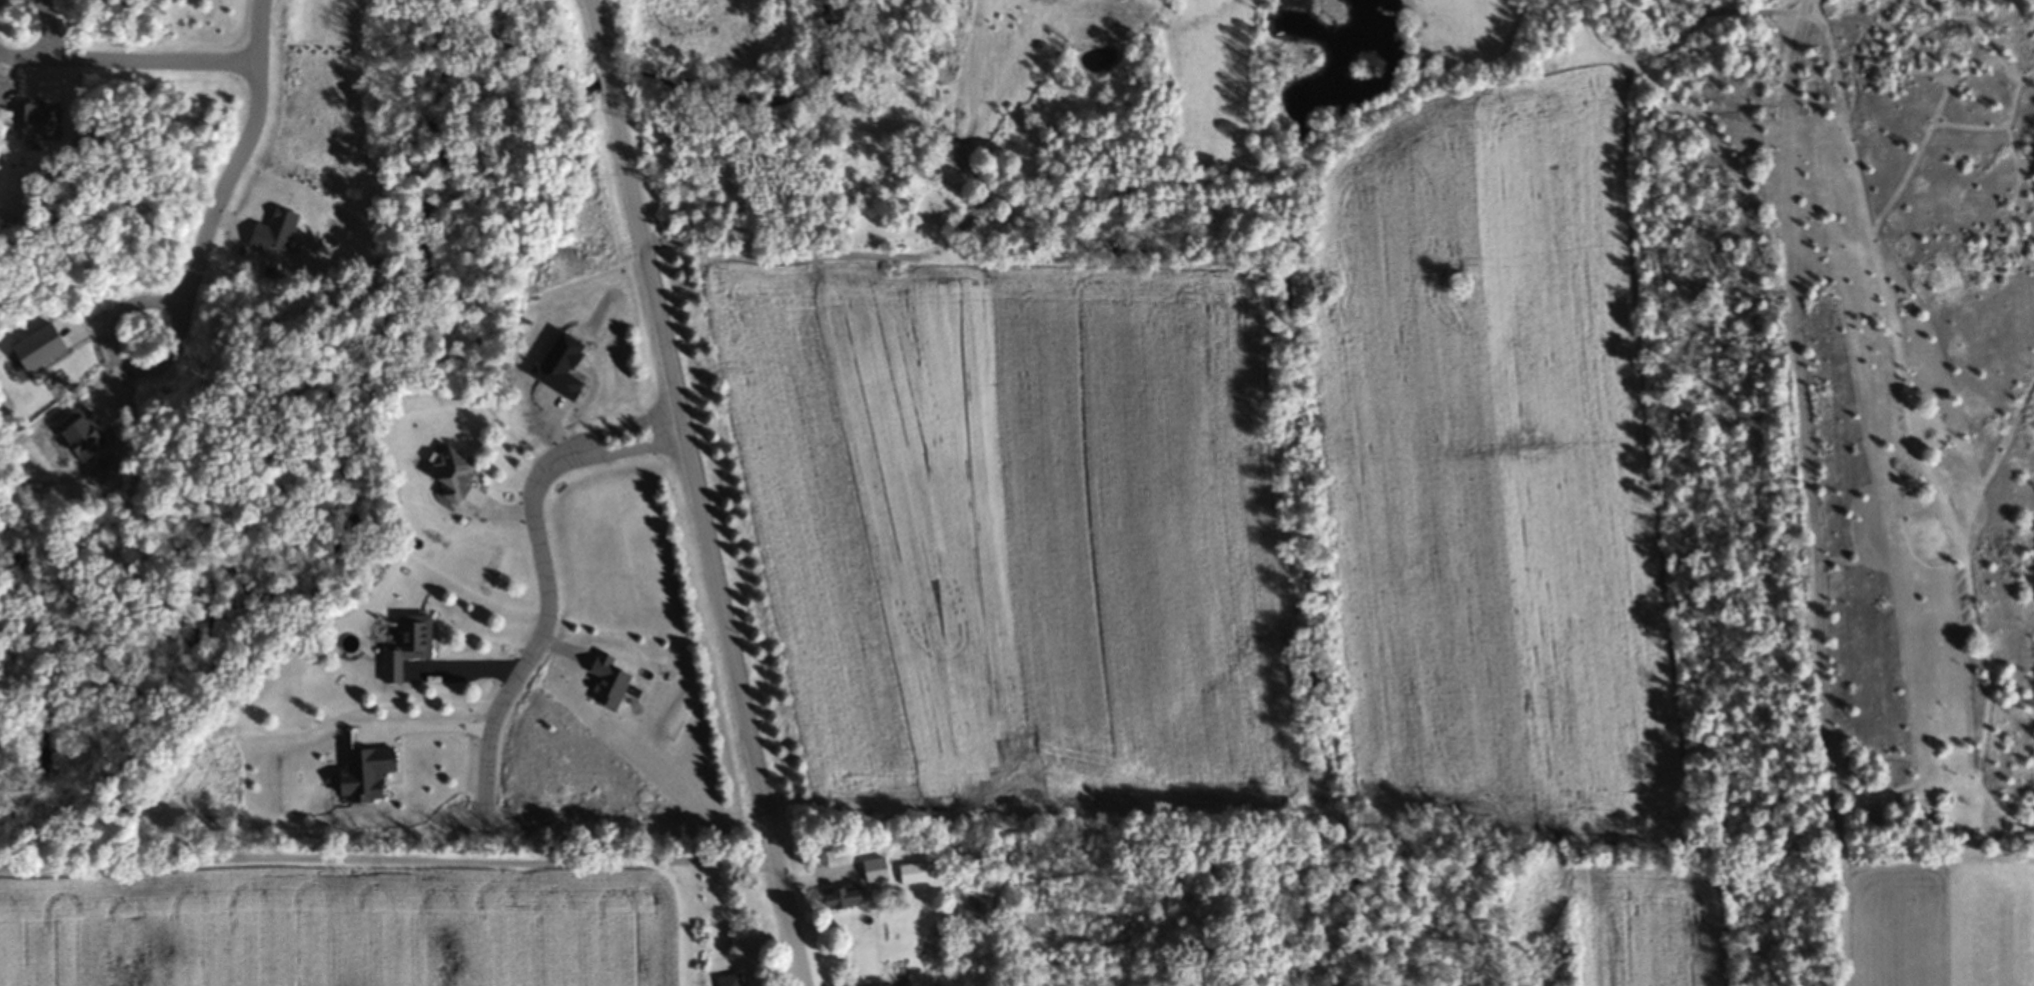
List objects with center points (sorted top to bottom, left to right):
road: (131, 67)
road: (232, 182)
building: (453, 478)
road: (694, 493)
road: (547, 577)
building: (407, 651)
road: (466, 672)
road: (436, 738)
building: (364, 778)
road: (389, 861)
building: (912, 876)
building: (871, 882)
building: (840, 900)
building: (729, 982)

